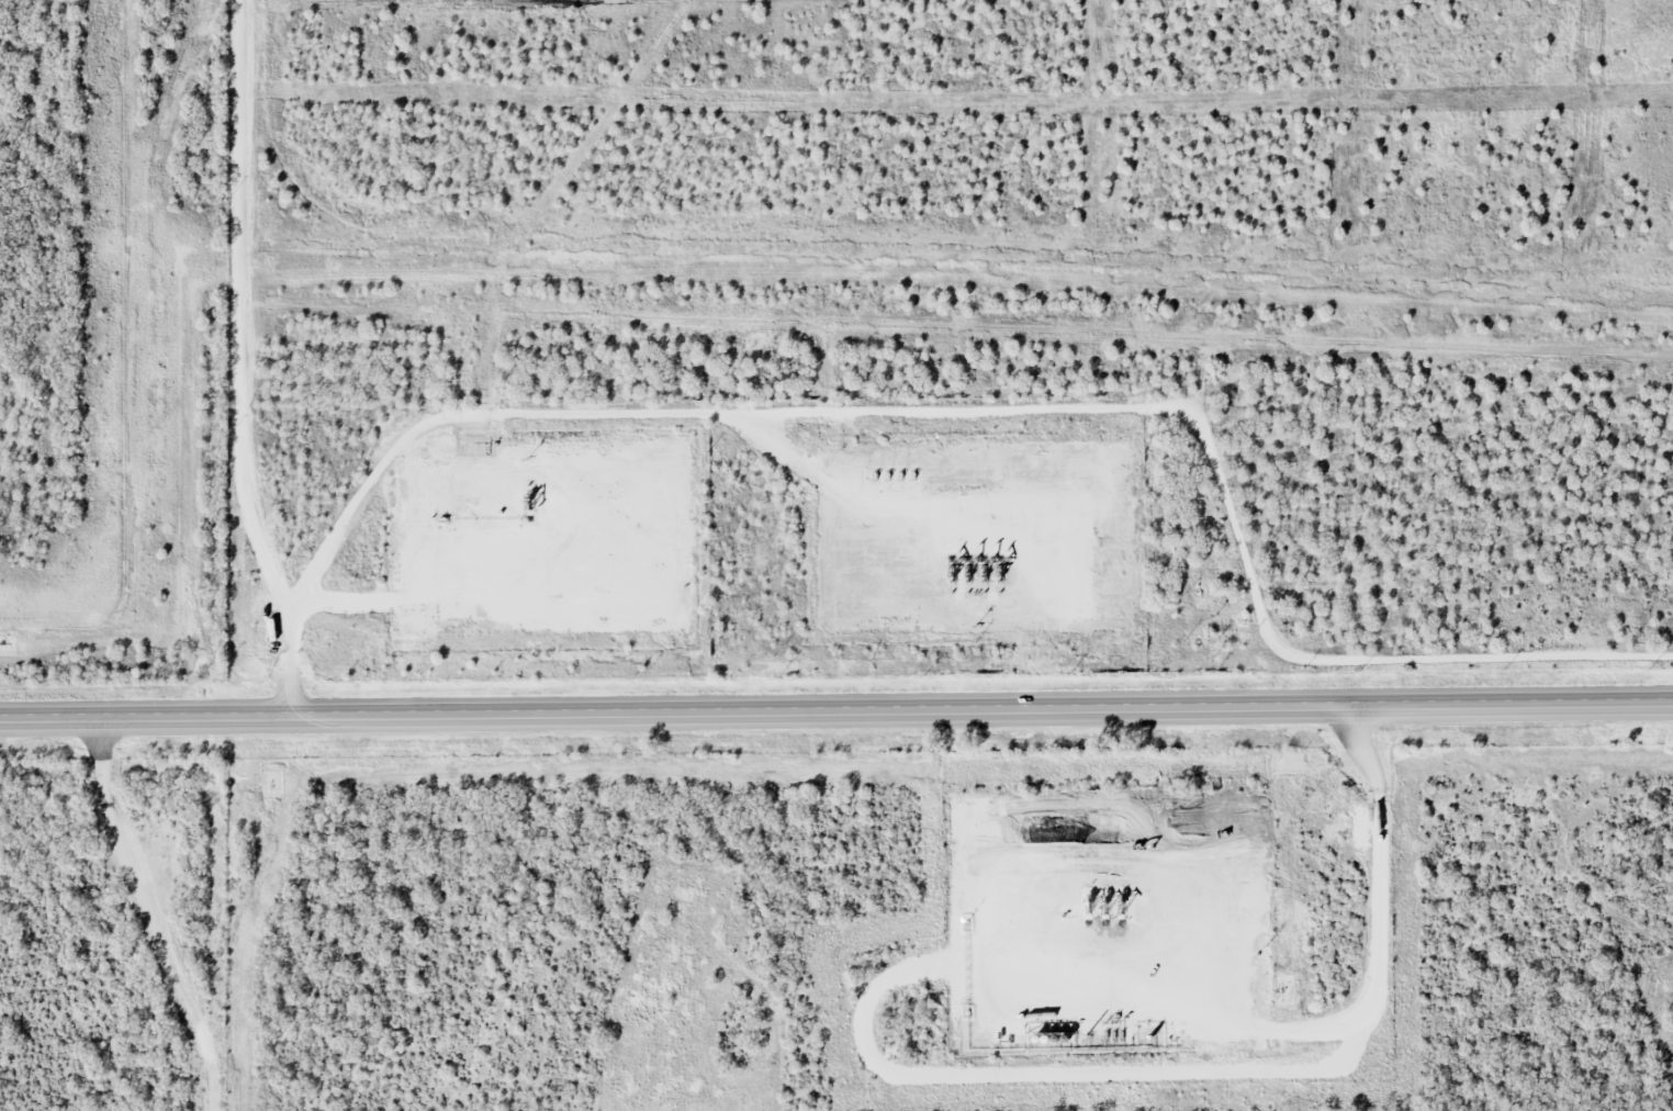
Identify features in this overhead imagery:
road: (244, 367)
petroleum well: (969, 564)
road: (836, 717)
petroleum well: (1097, 905)
road: (154, 920)

